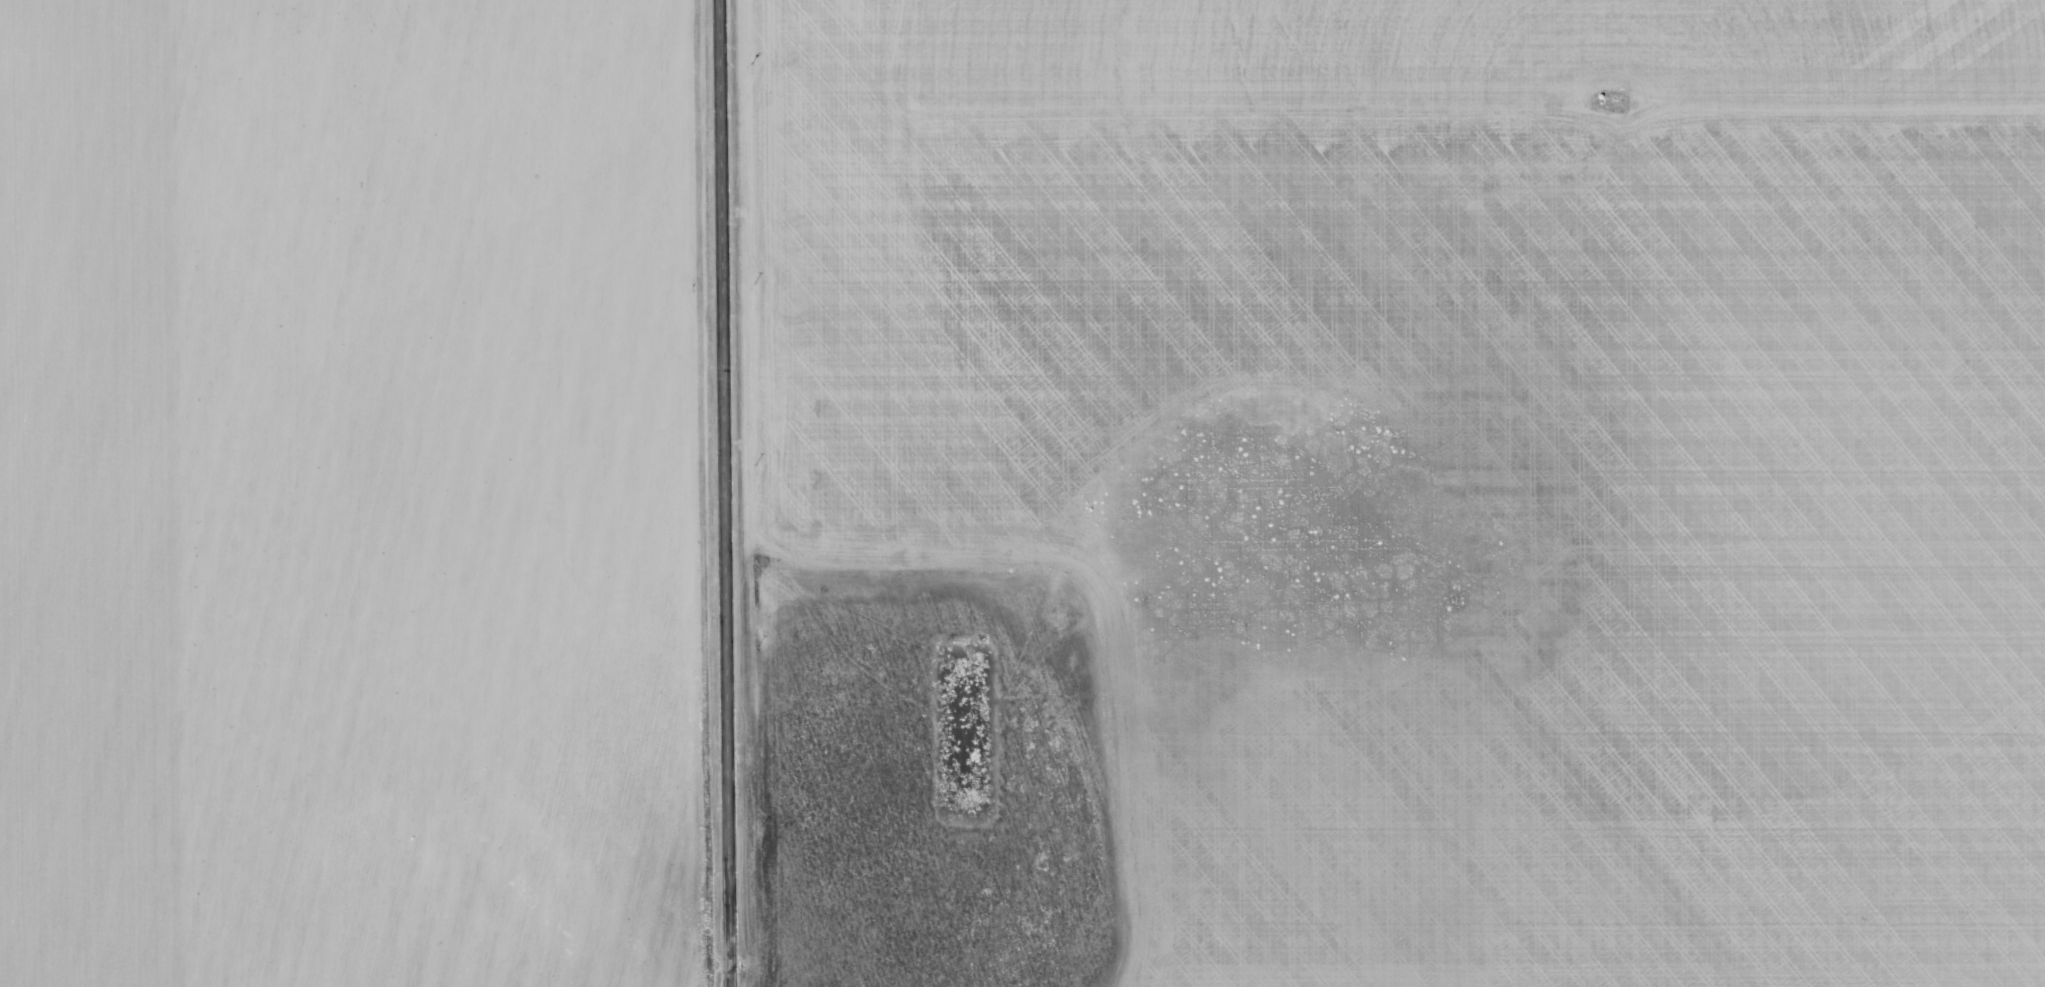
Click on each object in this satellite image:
road: (725, 493)

